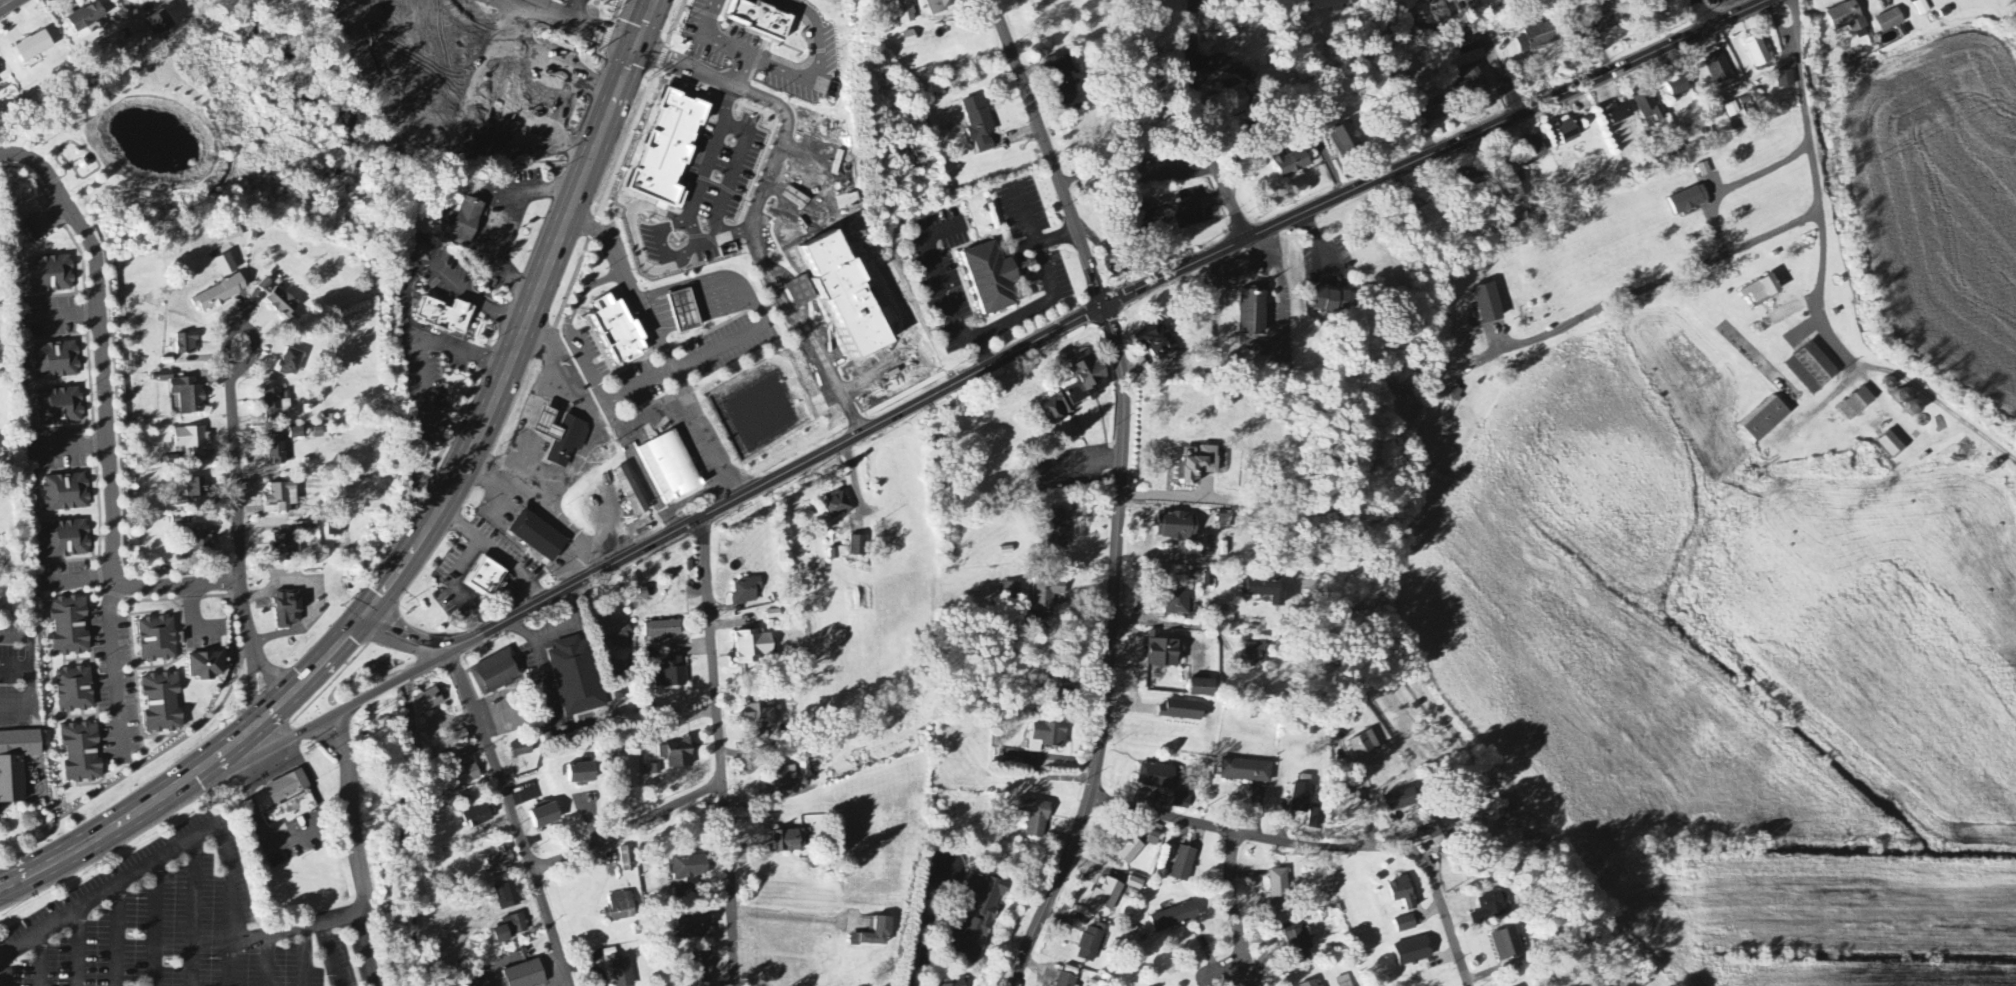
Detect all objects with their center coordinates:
road: (6, 3)
building: (944, 5)
building: (1326, 5)
building: (1922, 8)
building: (1444, 10)
building: (908, 12)
road: (1702, 12)
road: (586, 14)
building: (1846, 18)
building: (1600, 20)
building: (86, 21)
building: (772, 21)
building: (1890, 21)
building: (159, 24)
road: (572, 25)
road: (821, 32)
building: (1466, 36)
building: (1538, 37)
building: (911, 38)
road: (715, 41)
building: (34, 47)
traffic signals: (637, 50)
building: (1758, 52)
road: (1493, 56)
building: (1719, 69)
road: (689, 70)
road: (782, 71)
road: (749, 76)
building: (1786, 79)
building: (1471, 82)
building: (1066, 83)
building: (1676, 87)
building: (516, 90)
building: (1240, 99)
building: (1647, 105)
building: (1732, 110)
building: (1434, 111)
building: (1620, 112)
road: (1200, 123)
building: (980, 124)
building: (1566, 131)
building: (1348, 142)
building: (1532, 149)
building: (669, 151)
road: (1048, 153)
building: (1292, 164)
building: (1704, 170)
building: (1128, 172)
building: (1466, 180)
road: (1739, 182)
building: (1510, 192)
building: (1690, 200)
building: (1423, 216)
building: (1137, 222)
building: (466, 223)
building: (233, 234)
road: (1758, 242)
road: (760, 259)
building: (226, 265)
road: (1245, 265)
building: (50, 275)
building: (994, 278)
road: (1824, 282)
road: (406, 286)
road: (1283, 287)
building: (1762, 291)
building: (801, 293)
building: (220, 294)
building: (849, 298)
building: (1335, 302)
building: (282, 304)
building: (1489, 304)
building: (685, 312)
building: (1253, 314)
road: (528, 316)
building: (455, 319)
road: (1059, 329)
road: (991, 330)
building: (628, 331)
building: (1158, 341)
building: (187, 344)
road: (662, 350)
road: (983, 352)
building: (57, 361)
road: (244, 361)
building: (290, 363)
building: (1813, 369)
building: (1077, 388)
building: (186, 394)
building: (275, 405)
building: (1857, 405)
building: (60, 407)
road: (104, 407)
building: (1765, 420)
building: (296, 433)
building: (562, 437)
building: (192, 439)
building: (1892, 446)
building: (277, 454)
road: (582, 455)
building: (1202, 465)
road: (1078, 466)
building: (670, 468)
building: (192, 491)
building: (631, 492)
building: (65, 493)
building: (280, 498)
building: (836, 505)
building: (180, 521)
building: (1224, 521)
building: (1177, 527)
building: (335, 529)
building: (1059, 529)
building: (538, 536)
road: (579, 536)
building: (66, 540)
road: (240, 544)
building: (198, 545)
building: (858, 547)
building: (283, 548)
road: (498, 549)
road: (460, 569)
building: (487, 578)
building: (1265, 589)
building: (1010, 590)
building: (746, 592)
building: (1047, 594)
building: (1177, 602)
road: (310, 605)
building: (288, 609)
traffic signals: (366, 615)
road: (1163, 622)
building: (70, 626)
building: (662, 632)
building: (619, 637)
building: (157, 640)
building: (754, 647)
building: (1162, 652)
road: (1109, 653)
building: (1255, 655)
road: (113, 660)
road: (322, 664)
road: (16, 667)
building: (205, 667)
building: (497, 673)
building: (671, 674)
road: (32, 675)
building: (576, 677)
building: (1203, 688)
building: (75, 690)
building: (1056, 691)
building: (429, 701)
building: (162, 703)
traffic signals: (274, 709)
building: (1182, 711)
building: (760, 716)
road: (311, 727)
building: (1048, 736)
building: (654, 739)
building: (460, 741)
building: (1364, 747)
building: (521, 749)
road: (720, 751)
building: (82, 753)
road: (222, 753)
building: (679, 754)
building: (16, 763)
building: (630, 769)
building: (653, 770)
building: (1247, 771)
building: (583, 774)
building: (465, 775)
building: (1158, 777)
building: (781, 780)
building: (1339, 789)
road: (1367, 796)
building: (288, 797)
building: (1301, 798)
building: (1401, 800)
building: (1181, 801)
road: (513, 815)
building: (545, 815)
building: (481, 816)
building: (1035, 817)
building: (1316, 819)
building: (1438, 828)
road: (628, 829)
road: (1242, 834)
building: (789, 842)
road: (85, 844)
building: (1130, 850)
building: (627, 859)
building: (501, 860)
building: (1184, 864)
building: (688, 867)
road: (364, 877)
building: (1135, 884)
building: (684, 891)
building: (1279, 891)
building: (1403, 892)
building: (1107, 895)
building: (508, 897)
road: (94, 899)
road: (233, 904)
building: (1490, 907)
building: (619, 908)
road: (195, 910)
road: (1442, 910)
road: (1234, 911)
building: (985, 917)
building: (1175, 917)
road: (803, 918)
road: (157, 922)
road: (918, 922)
parking lot: (167, 924)
building: (1406, 924)
building: (695, 926)
building: (512, 928)
building: (876, 933)
road: (119, 934)
building: (1296, 941)
building: (1507, 944)
building: (1090, 945)
road: (78, 947)
road: (363, 949)
building: (1413, 951)
road: (332, 953)
road: (304, 955)
road: (39, 959)
road: (268, 960)
building: (701, 970)
building: (526, 975)
building: (1344, 981)
building: (1310, 983)
building: (954, 985)
building: (1322, 985)

